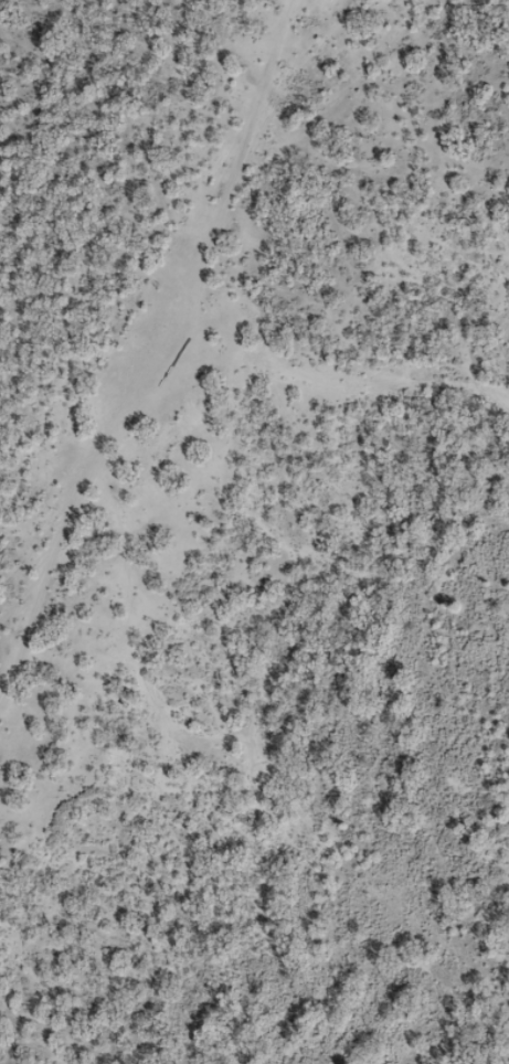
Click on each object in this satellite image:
road: (192, 304)

